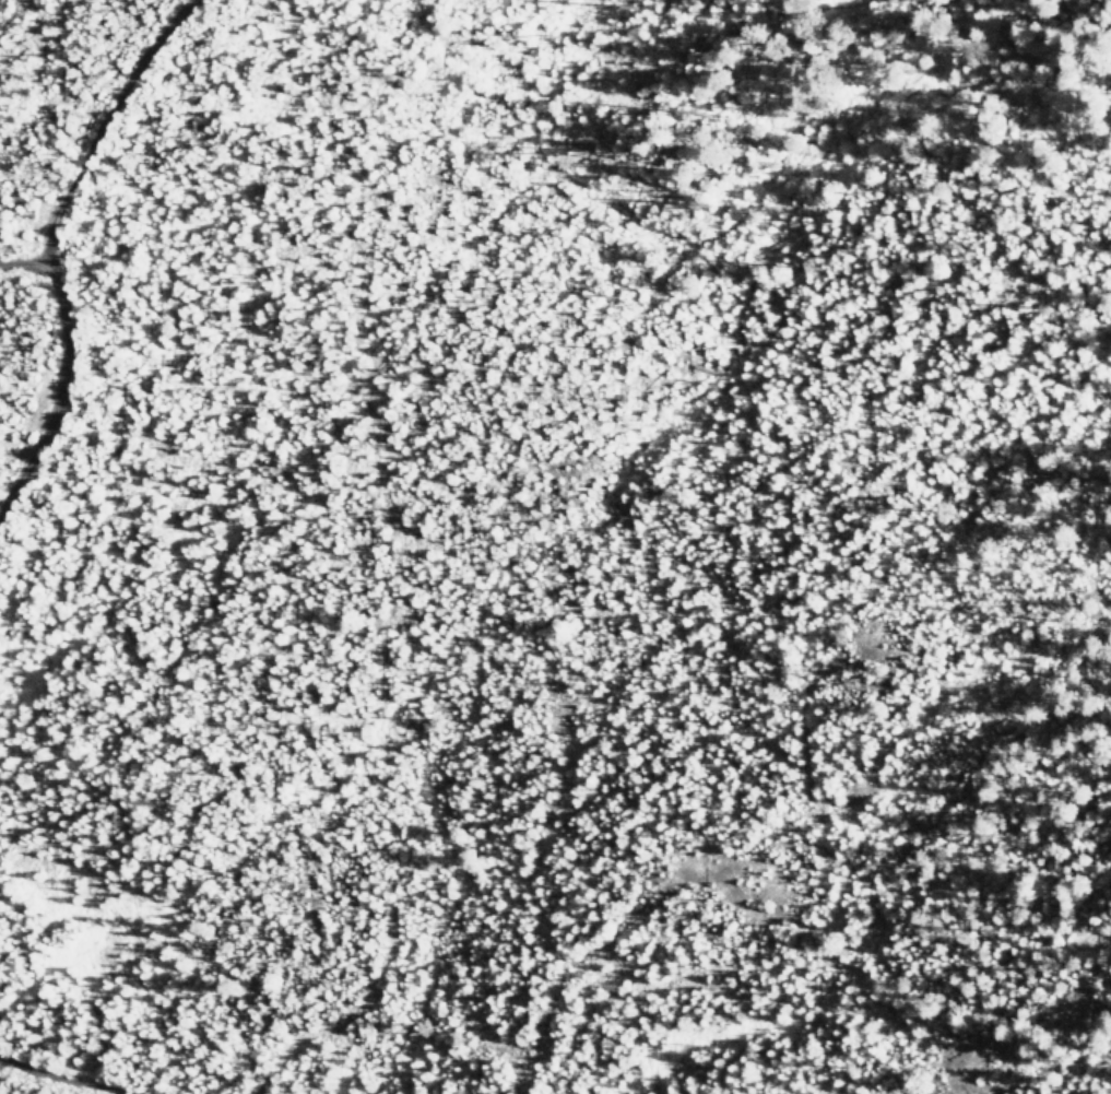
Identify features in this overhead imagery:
road: (57, 240)
road: (26, 264)
road: (42, 1079)

